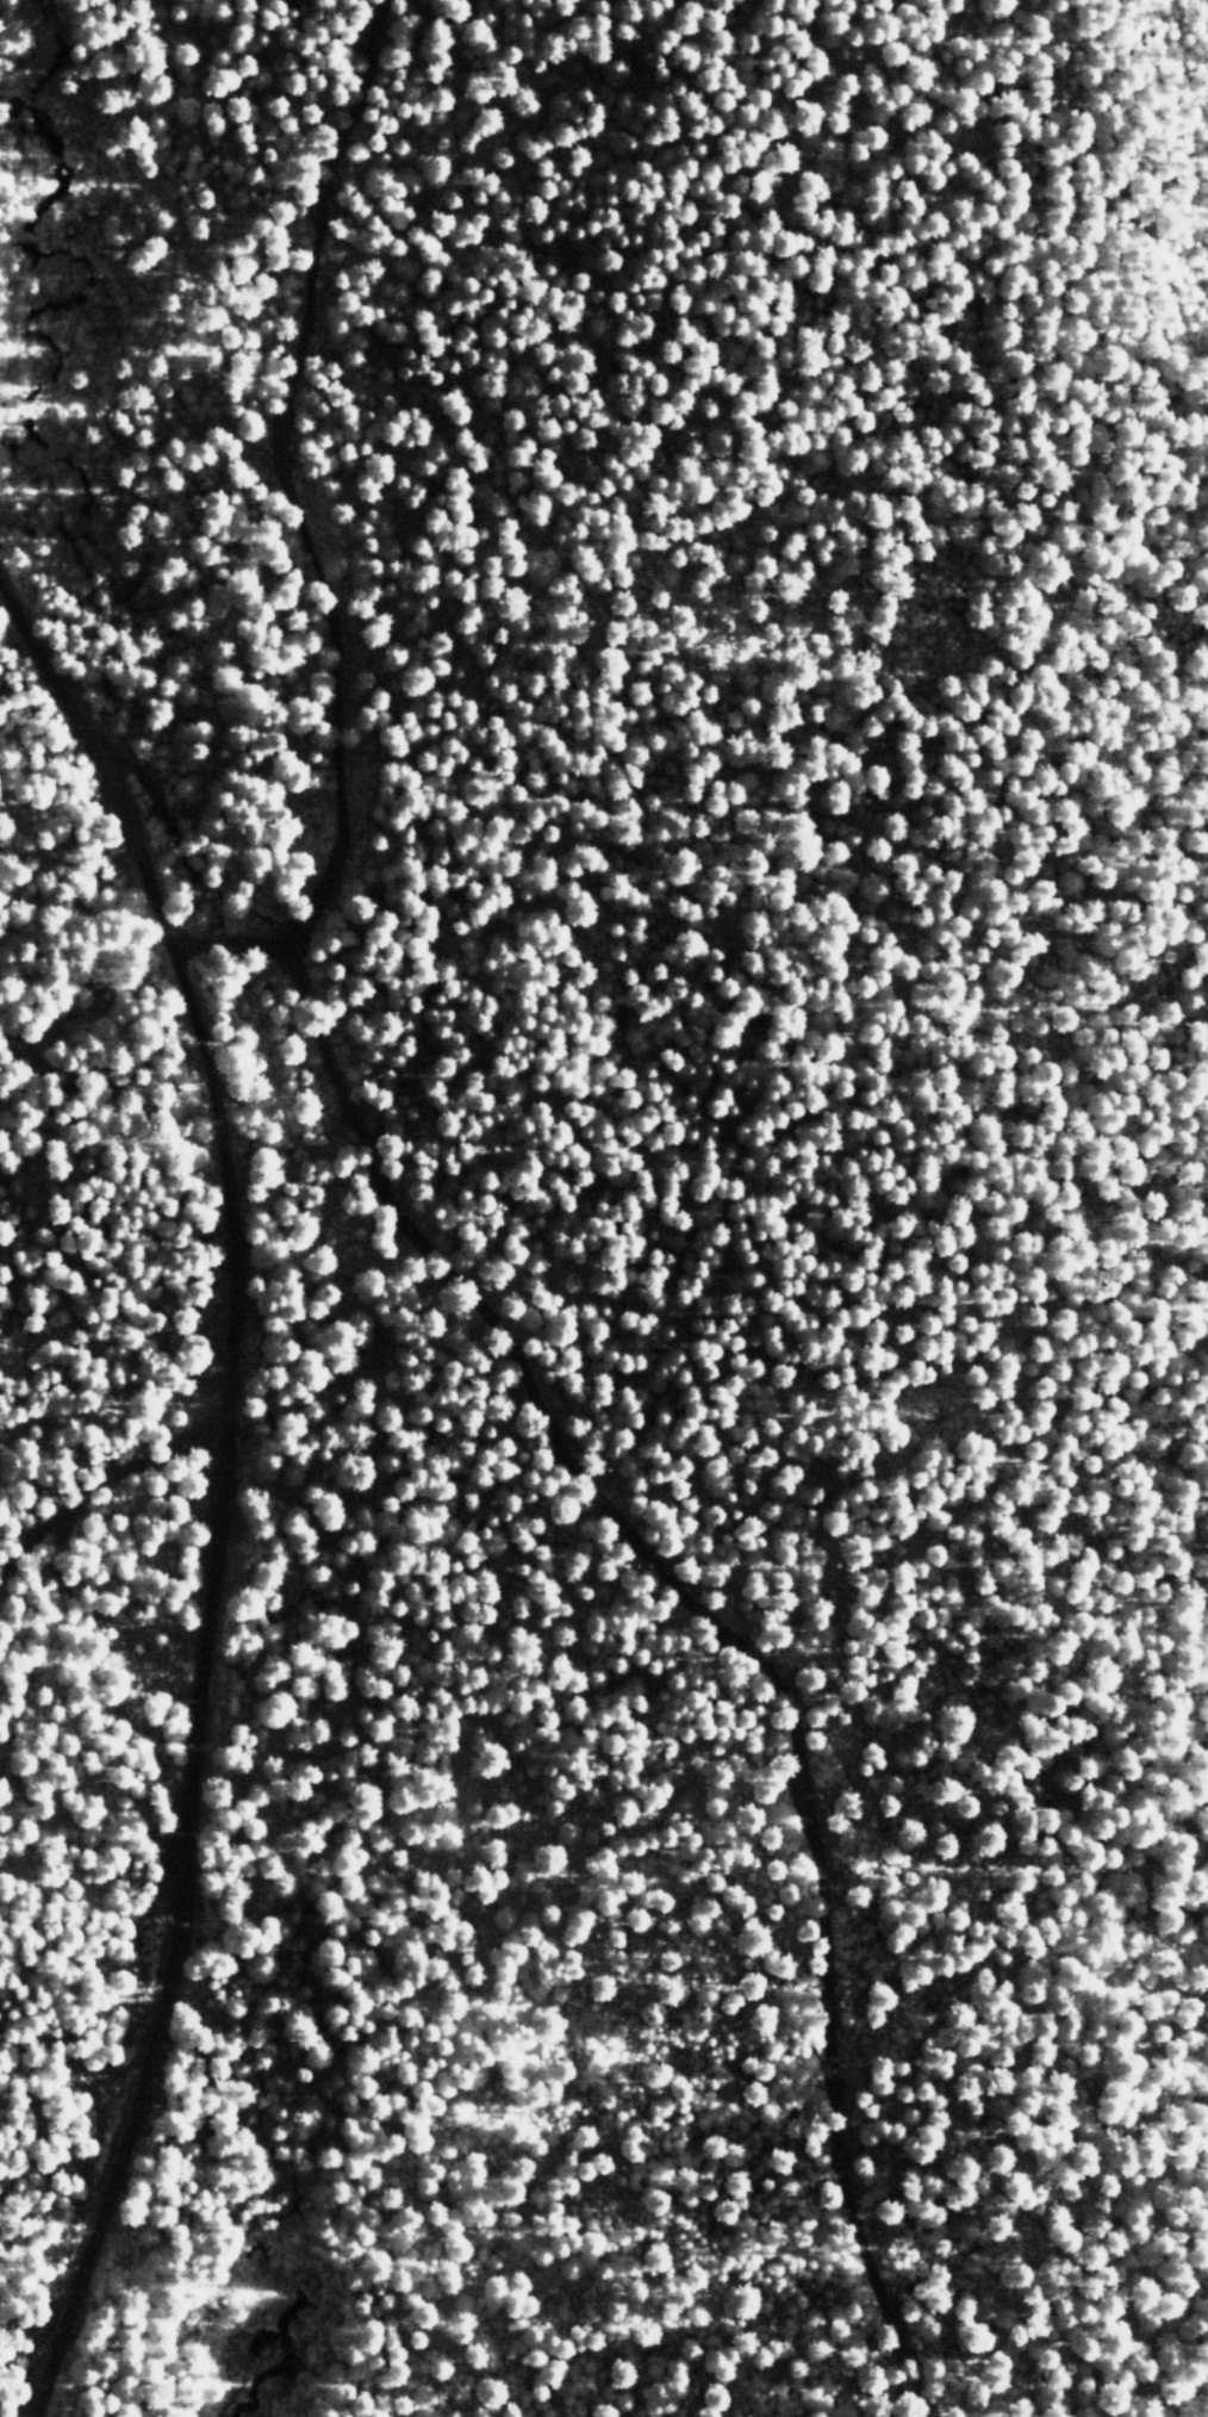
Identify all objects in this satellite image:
road: (212, 1496)

